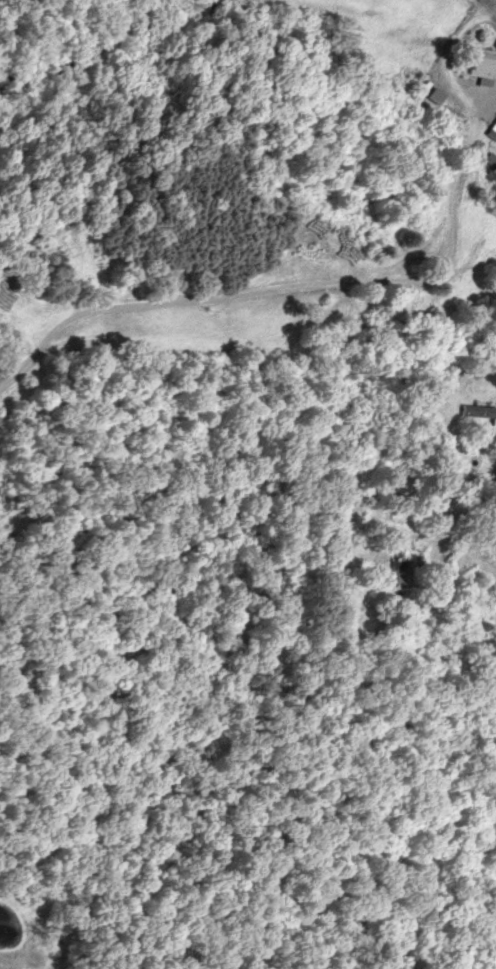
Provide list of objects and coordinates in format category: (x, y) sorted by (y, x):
road: (488, 7)
road: (443, 56)
building: (481, 62)
building: (435, 94)
building: (492, 128)
road: (296, 286)
building: (481, 397)
building: (470, 457)
building: (395, 573)
building: (426, 592)

